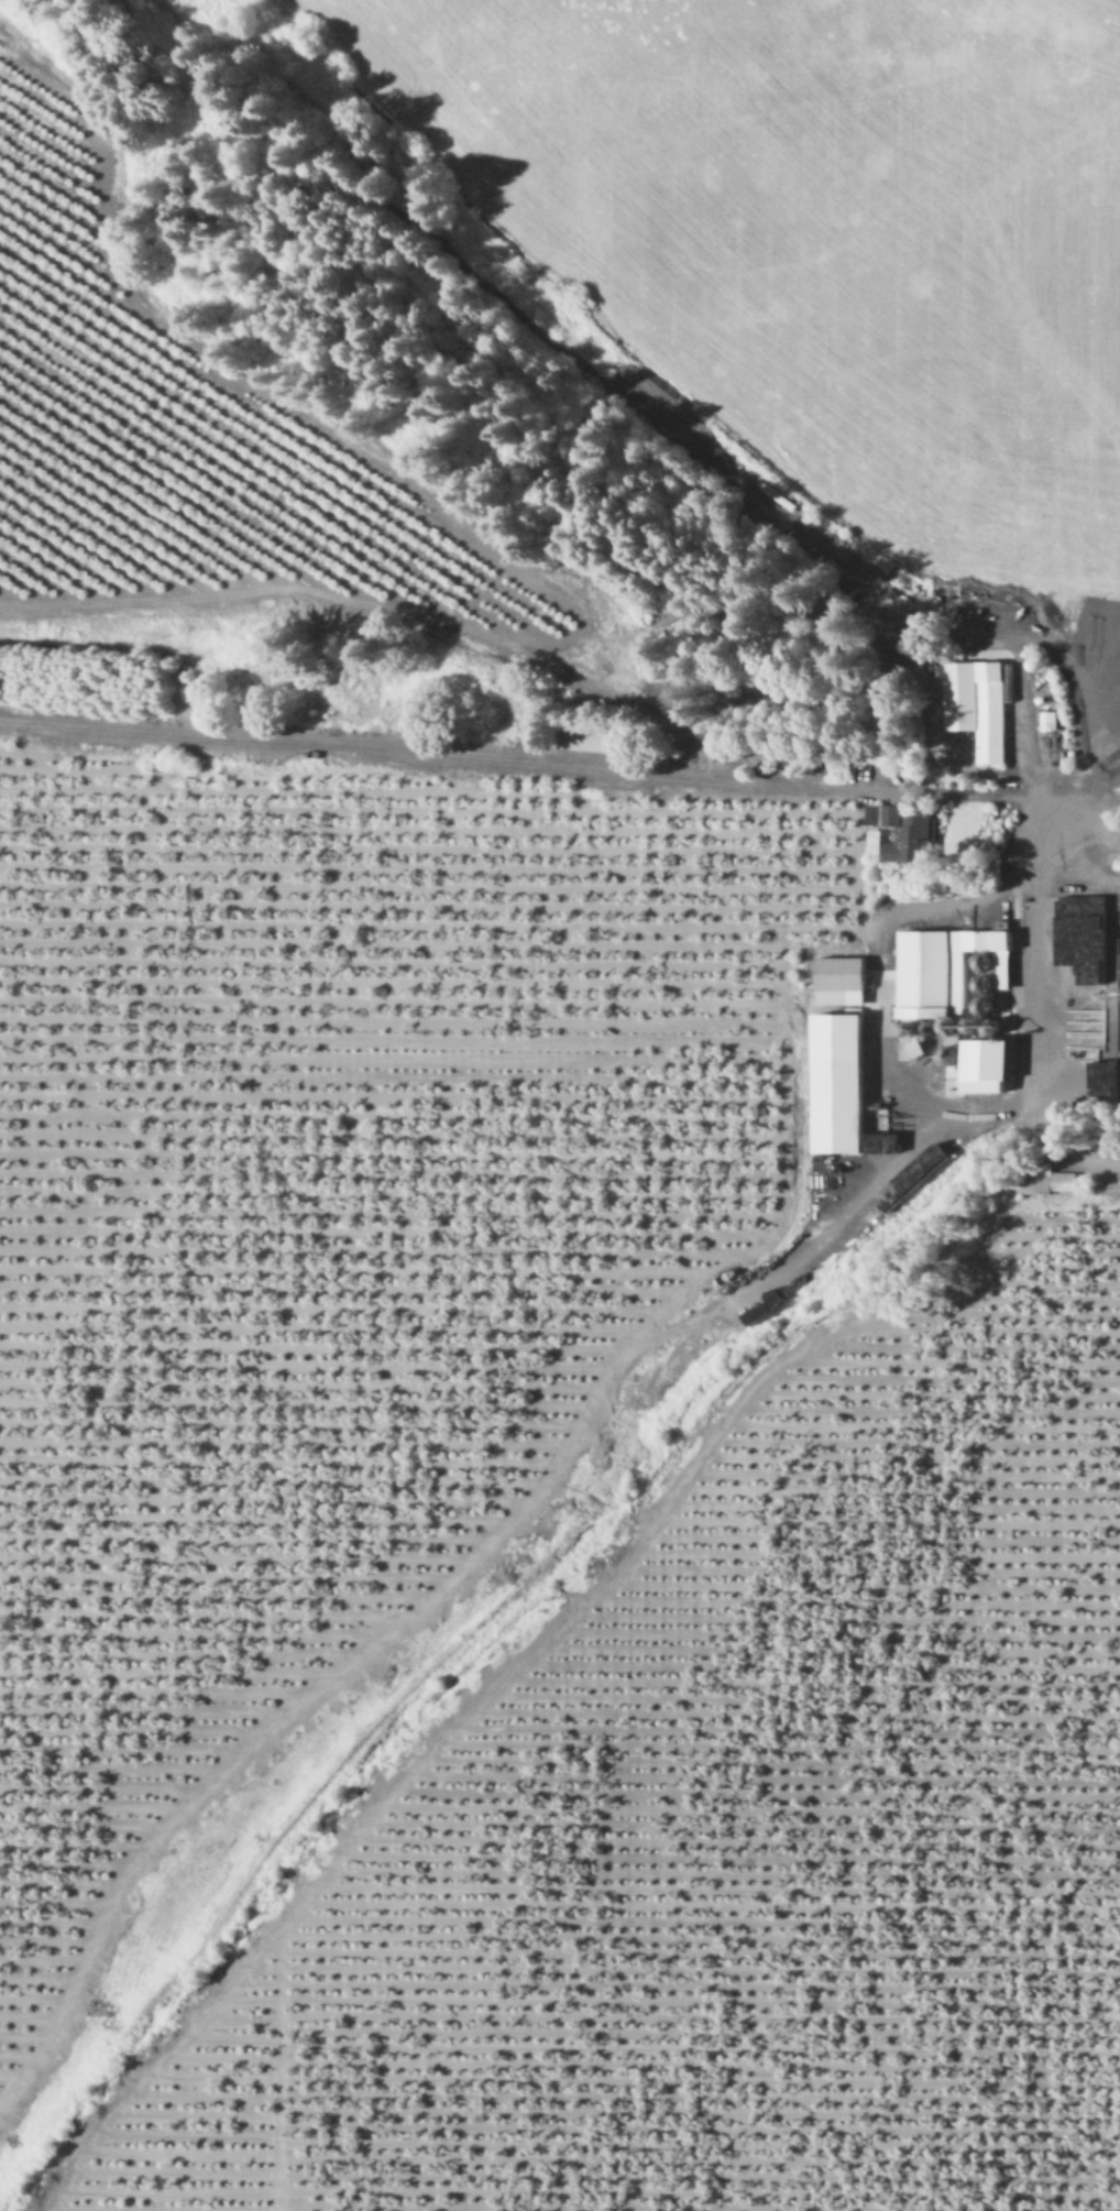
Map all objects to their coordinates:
crop: (826, 248)
crop: (261, 568)
building: (976, 703)
road: (559, 766)
building: (903, 835)
road: (1051, 862)
building: (947, 966)
road: (1035, 973)
building: (842, 979)
building: (987, 1063)
building: (839, 1082)
road: (997, 1105)
road: (1106, 1174)

